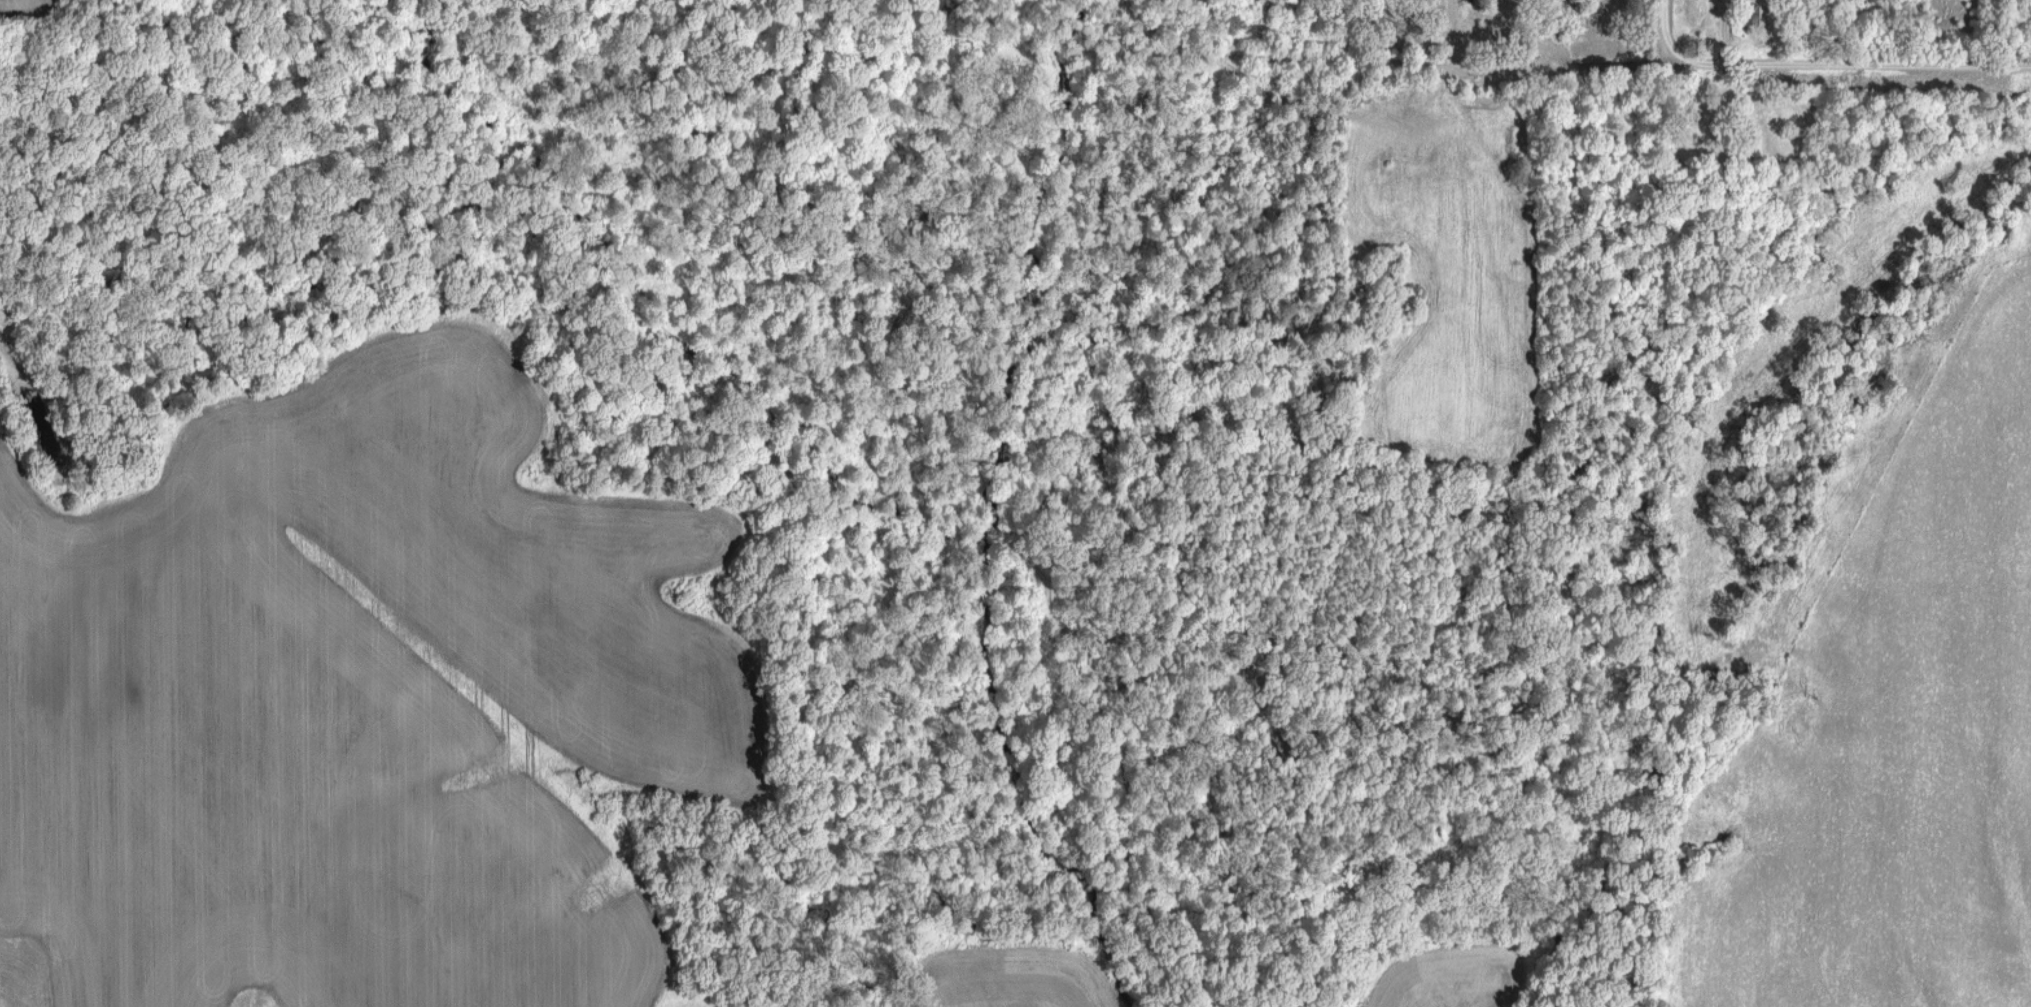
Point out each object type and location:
road: (1822, 67)

